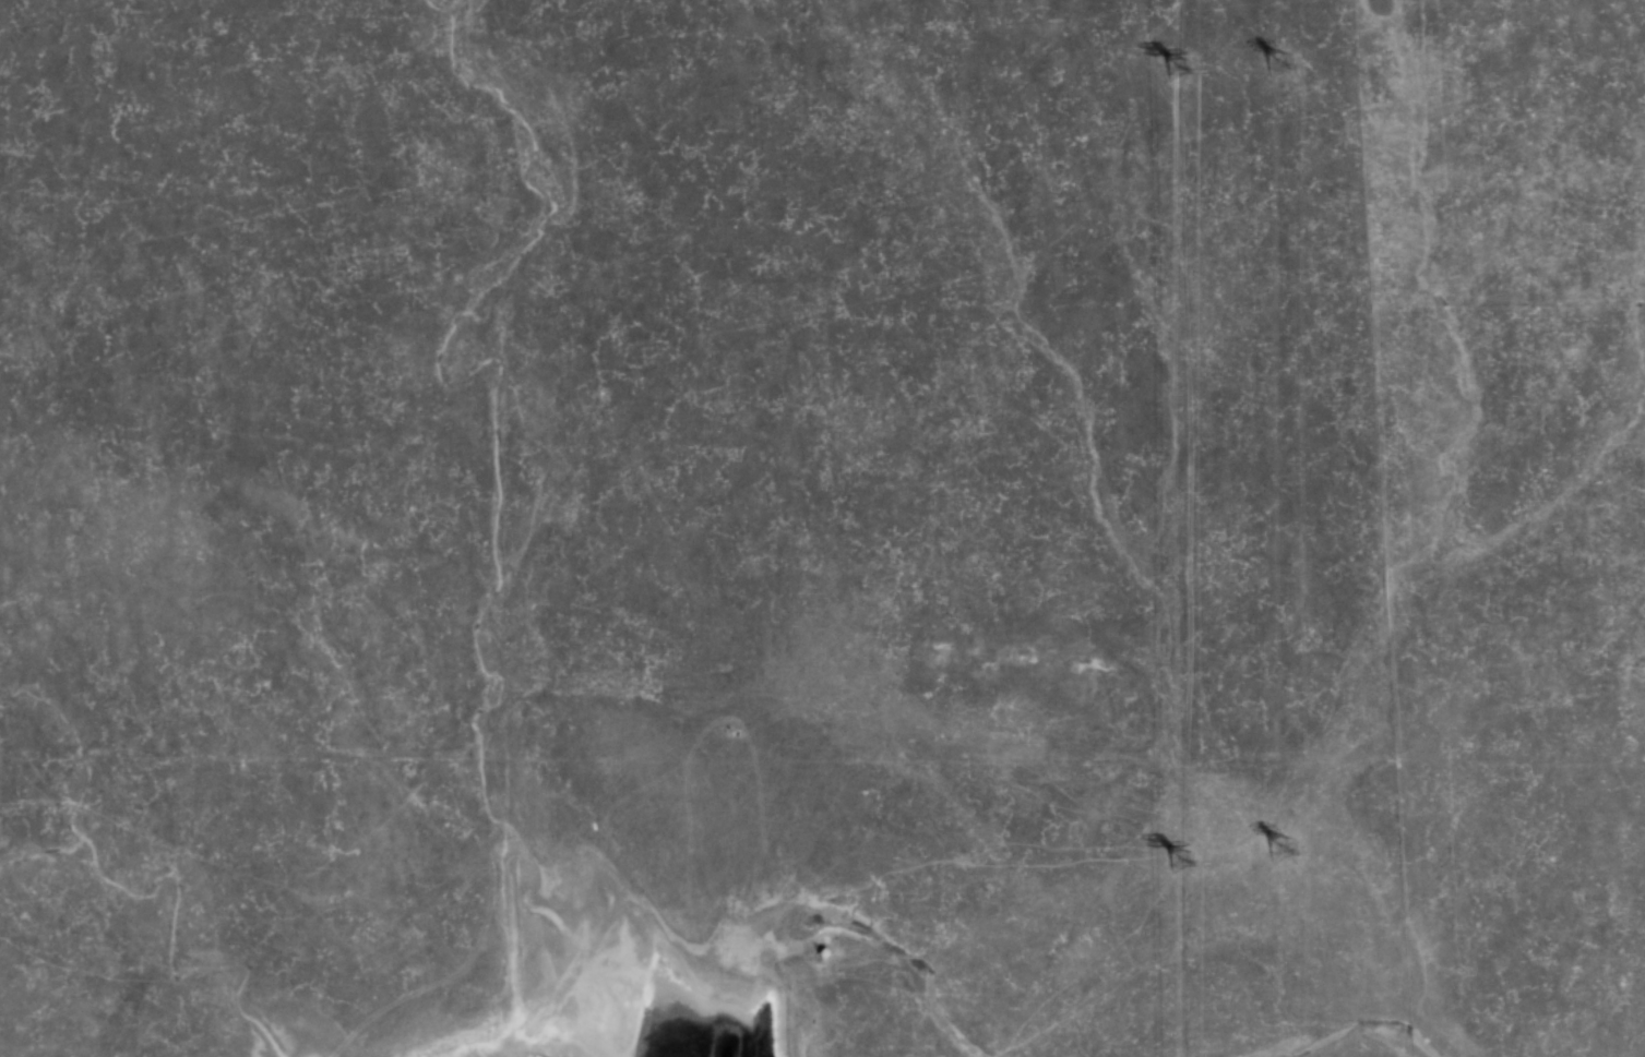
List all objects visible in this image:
power tower: (1177, 68)
power tower: (1279, 73)
power tower: (1180, 842)
power tower: (1284, 843)

